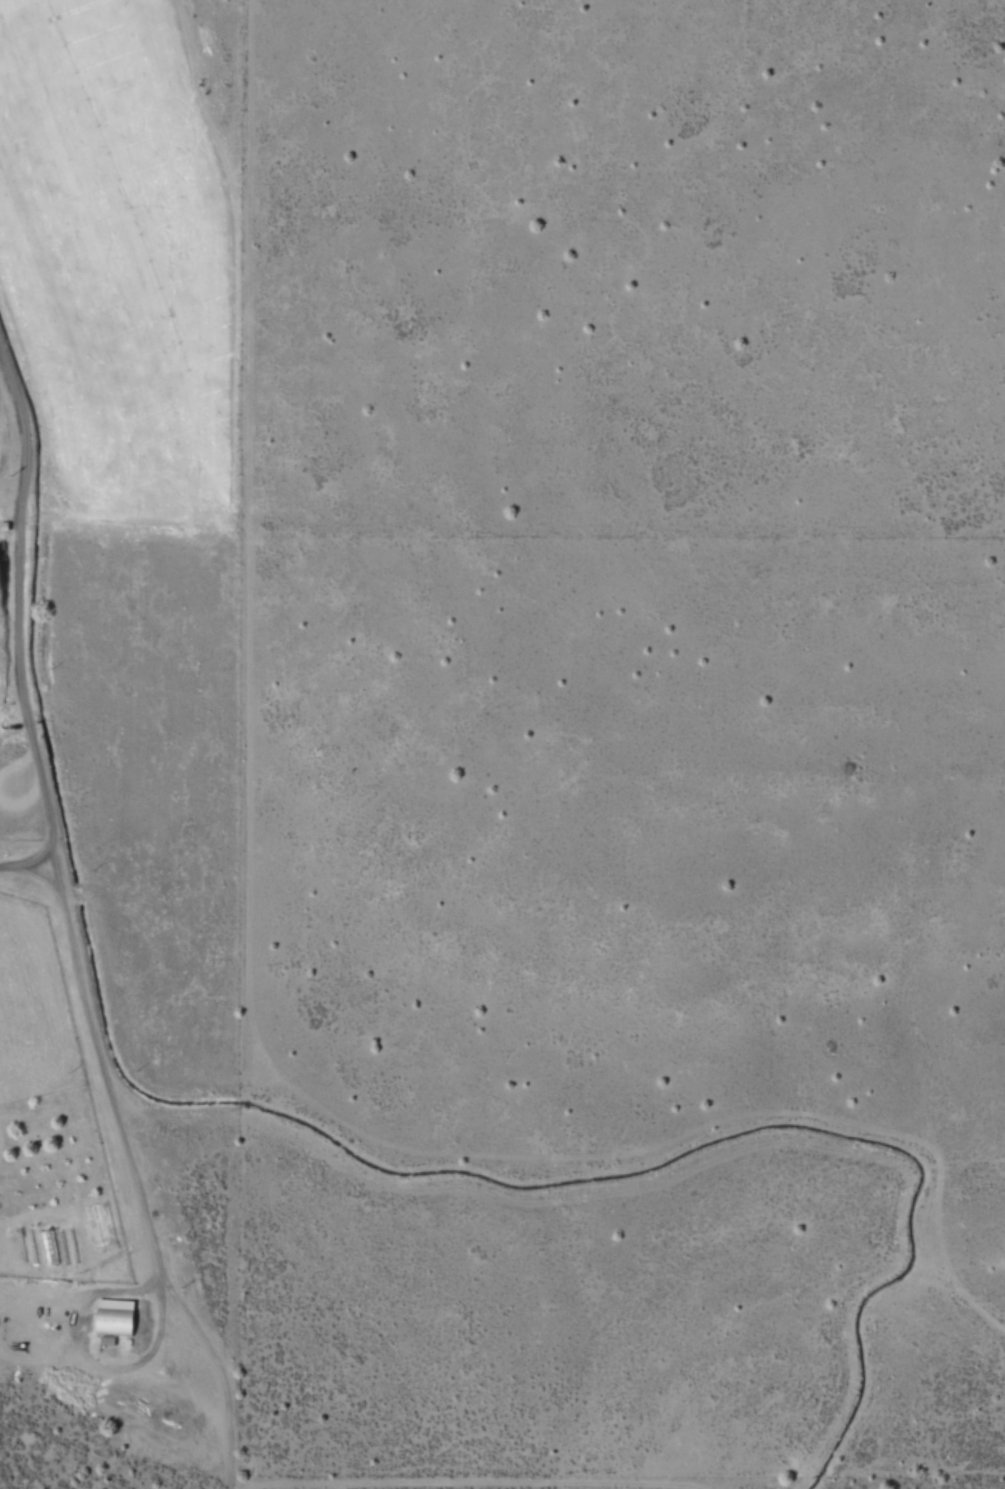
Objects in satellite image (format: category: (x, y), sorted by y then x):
road: (33, 858)
road: (72, 927)
building: (45, 1247)
building: (112, 1320)

